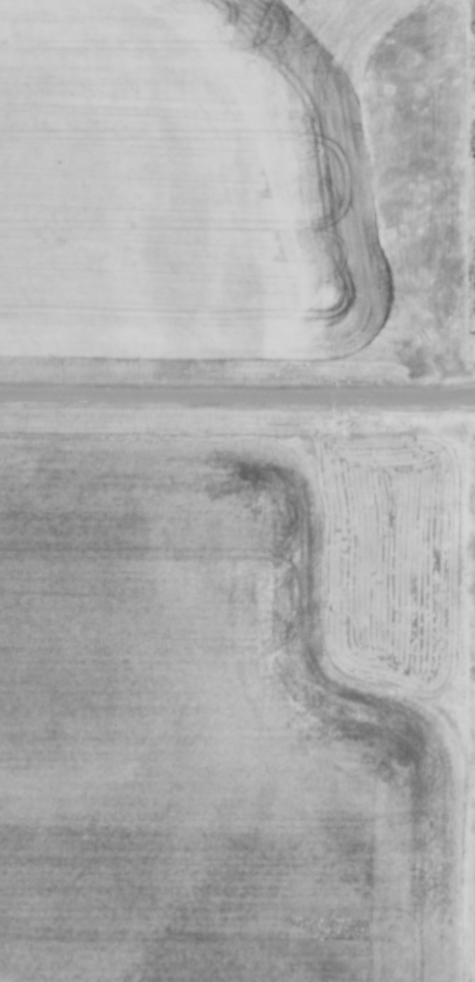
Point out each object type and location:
road: (237, 391)

